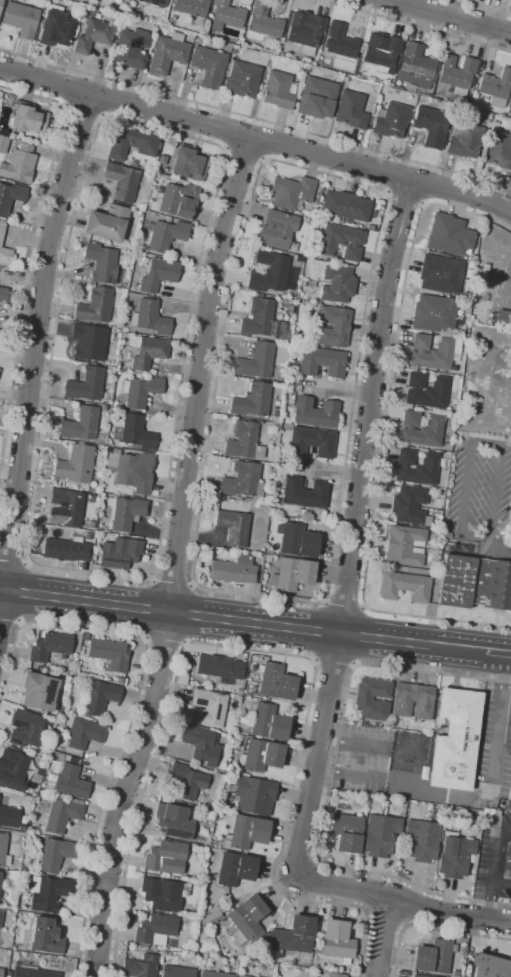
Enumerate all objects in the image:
building: (155, 2)
building: (0, 3)
building: (191, 7)
road: (484, 7)
building: (226, 15)
road: (451, 15)
building: (20, 19)
building: (264, 21)
road: (415, 25)
building: (56, 27)
building: (305, 31)
building: (93, 35)
building: (237, 42)
building: (339, 43)
building: (234, 46)
building: (130, 48)
building: (381, 51)
building: (167, 53)
building: (303, 65)
building: (208, 66)
building: (416, 66)
building: (458, 74)
building: (241, 79)
building: (345, 79)
building: (474, 86)
building: (396, 87)
building: (496, 87)
building: (279, 90)
building: (421, 94)
building: (316, 97)
building: (351, 110)
road: (84, 112)
building: (510, 113)
building: (467, 116)
building: (28, 118)
road: (256, 118)
building: (390, 120)
building: (431, 126)
road: (256, 137)
building: (465, 140)
building: (3, 144)
building: (132, 144)
road: (218, 145)
building: (499, 150)
road: (245, 155)
building: (134, 163)
building: (19, 164)
building: (188, 164)
building: (122, 182)
building: (320, 186)
road: (380, 189)
building: (291, 192)
building: (10, 197)
building: (179, 200)
road: (405, 200)
building: (345, 205)
building: (167, 219)
building: (107, 223)
building: (370, 227)
building: (277, 229)
building: (1, 231)
building: (165, 234)
building: (141, 235)
building: (450, 235)
building: (341, 242)
building: (5, 255)
road: (28, 263)
building: (101, 263)
building: (269, 273)
building: (157, 274)
building: (440, 274)
building: (337, 284)
building: (131, 287)
building: (3, 294)
building: (259, 295)
building: (95, 305)
building: (434, 314)
building: (150, 318)
building: (503, 318)
building: (263, 321)
building: (333, 326)
building: (0, 334)
building: (89, 342)
building: (147, 351)
building: (434, 352)
road: (34, 356)
building: (255, 361)
building: (321, 361)
building: (86, 384)
building: (140, 391)
building: (426, 391)
building: (252, 401)
building: (315, 412)
building: (275, 413)
building: (82, 426)
building: (421, 429)
building: (135, 433)
road: (471, 440)
building: (244, 441)
building: (311, 442)
building: (83, 443)
road: (383, 445)
building: (76, 466)
building: (416, 468)
building: (131, 470)
building: (242, 480)
building: (304, 493)
building: (226, 497)
building: (245, 499)
building: (68, 506)
building: (409, 506)
building: (125, 512)
building: (86, 523)
road: (351, 526)
building: (233, 527)
building: (447, 532)
building: (296, 540)
building: (405, 545)
building: (66, 549)
road: (495, 550)
building: (120, 553)
road: (174, 557)
road: (14, 559)
building: (233, 570)
building: (292, 574)
building: (434, 574)
road: (172, 582)
building: (476, 582)
building: (405, 586)
road: (344, 604)
road: (168, 612)
road: (10, 621)
building: (84, 635)
road: (368, 638)
road: (165, 642)
building: (50, 646)
road: (443, 646)
road: (498, 652)
road: (275, 653)
building: (109, 654)
road: (334, 664)
building: (219, 668)
building: (119, 680)
building: (276, 682)
building: (38, 691)
building: (99, 697)
building: (363, 699)
building: (412, 700)
road: (134, 708)
building: (208, 708)
building: (268, 722)
road: (499, 725)
building: (28, 728)
building: (82, 731)
building: (455, 739)
building: (201, 744)
building: (260, 756)
building: (13, 769)
building: (69, 780)
building: (187, 781)
road: (329, 783)
building: (251, 794)
building: (449, 811)
building: (62, 814)
building: (480, 816)
building: (9, 817)
building: (174, 821)
building: (454, 824)
building: (23, 825)
building: (478, 829)
road: (507, 829)
building: (246, 832)
building: (347, 832)
building: (380, 835)
building: (422, 840)
building: (2, 847)
building: (458, 851)
building: (53, 853)
building: (166, 857)
building: (508, 858)
building: (236, 868)
road: (494, 873)
building: (0, 875)
road: (502, 883)
building: (48, 893)
building: (163, 894)
building: (225, 896)
road: (403, 899)
building: (223, 908)
building: (0, 916)
building: (210, 916)
building: (246, 920)
road: (432, 926)
building: (155, 929)
building: (293, 935)
road: (383, 936)
building: (46, 937)
building: (459, 940)
building: (336, 941)
building: (425, 943)
building: (434, 956)
building: (265, 957)
building: (204, 961)
building: (140, 966)
building: (490, 966)
building: (32, 971)
building: (176, 971)
building: (1, 972)
building: (215, 974)
building: (336, 974)
building: (457, 974)
building: (243, 976)
building: (418, 976)

